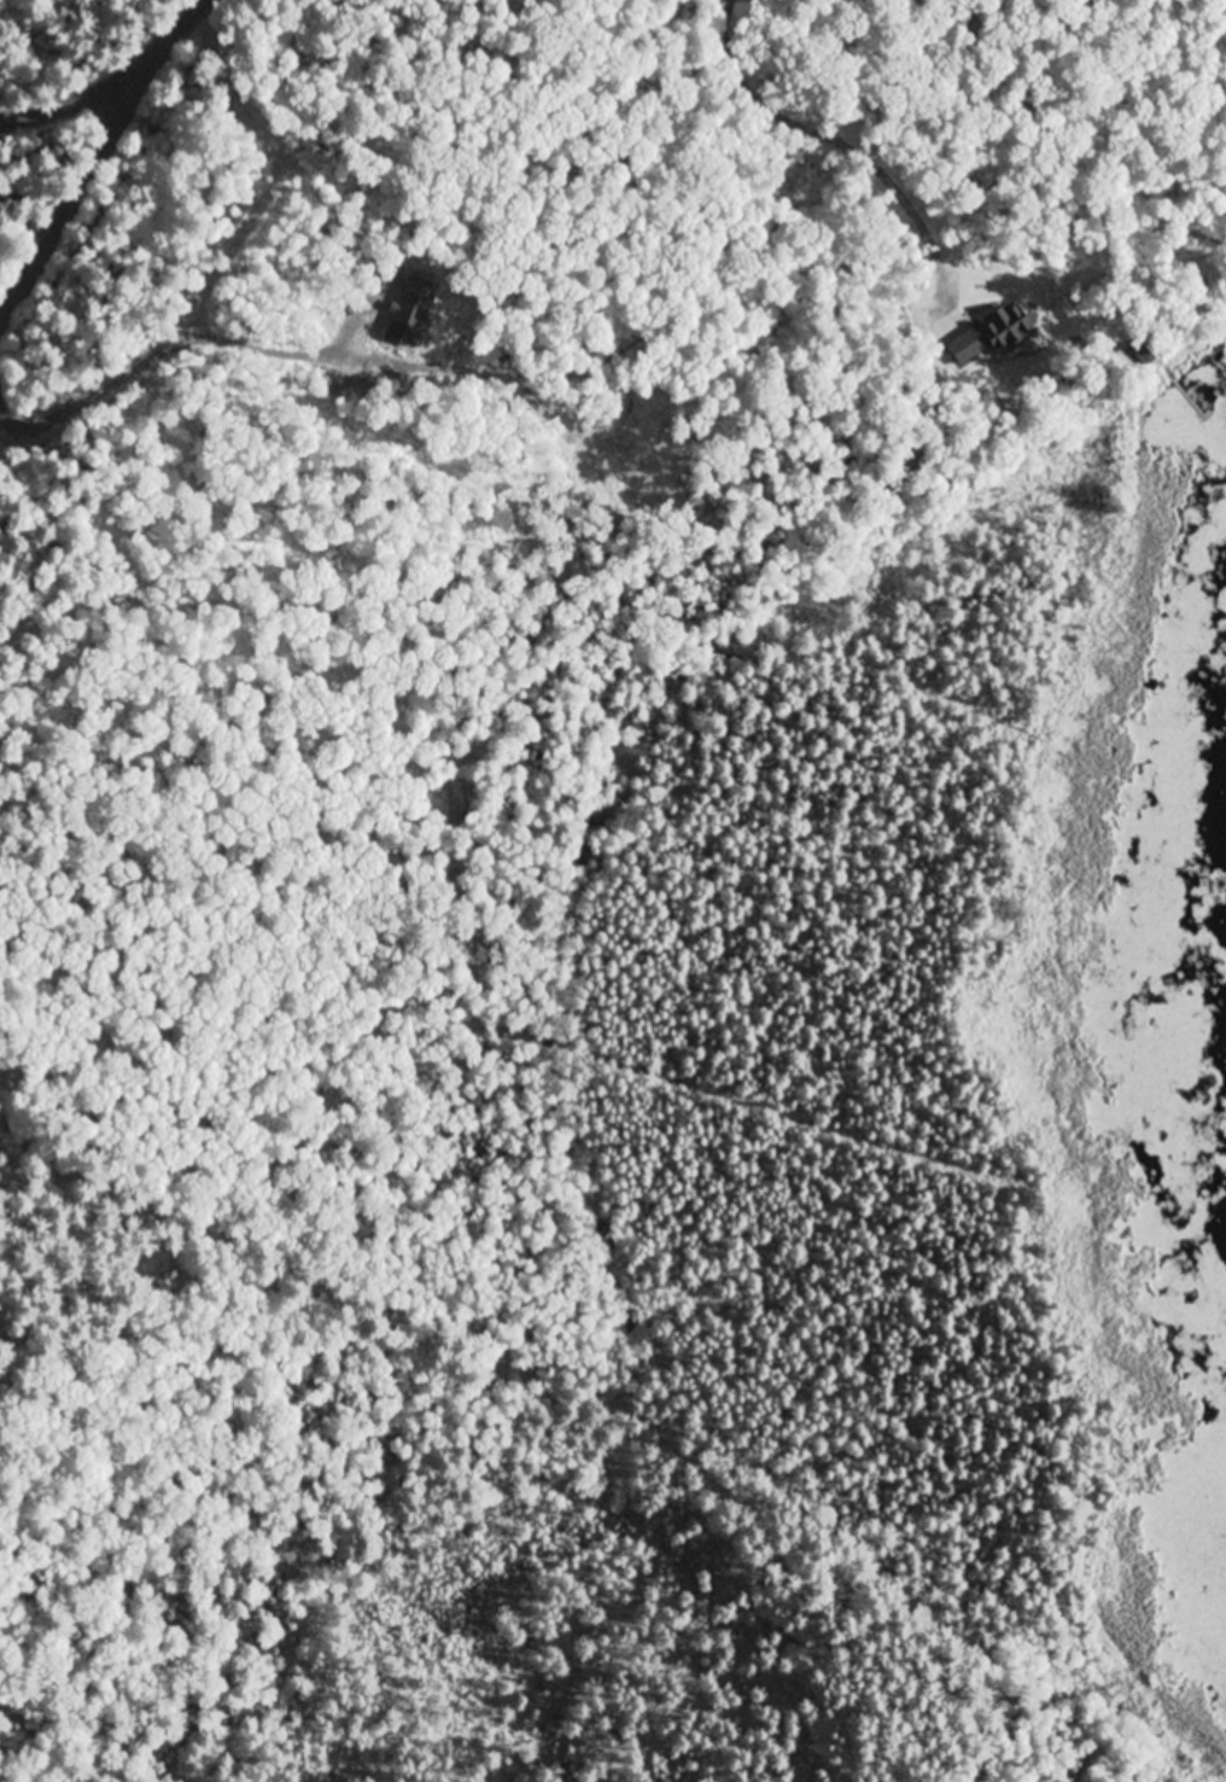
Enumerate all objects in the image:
road: (185, 12)
road: (115, 82)
road: (93, 179)
building: (965, 345)
road: (326, 1084)
road: (41, 1356)

